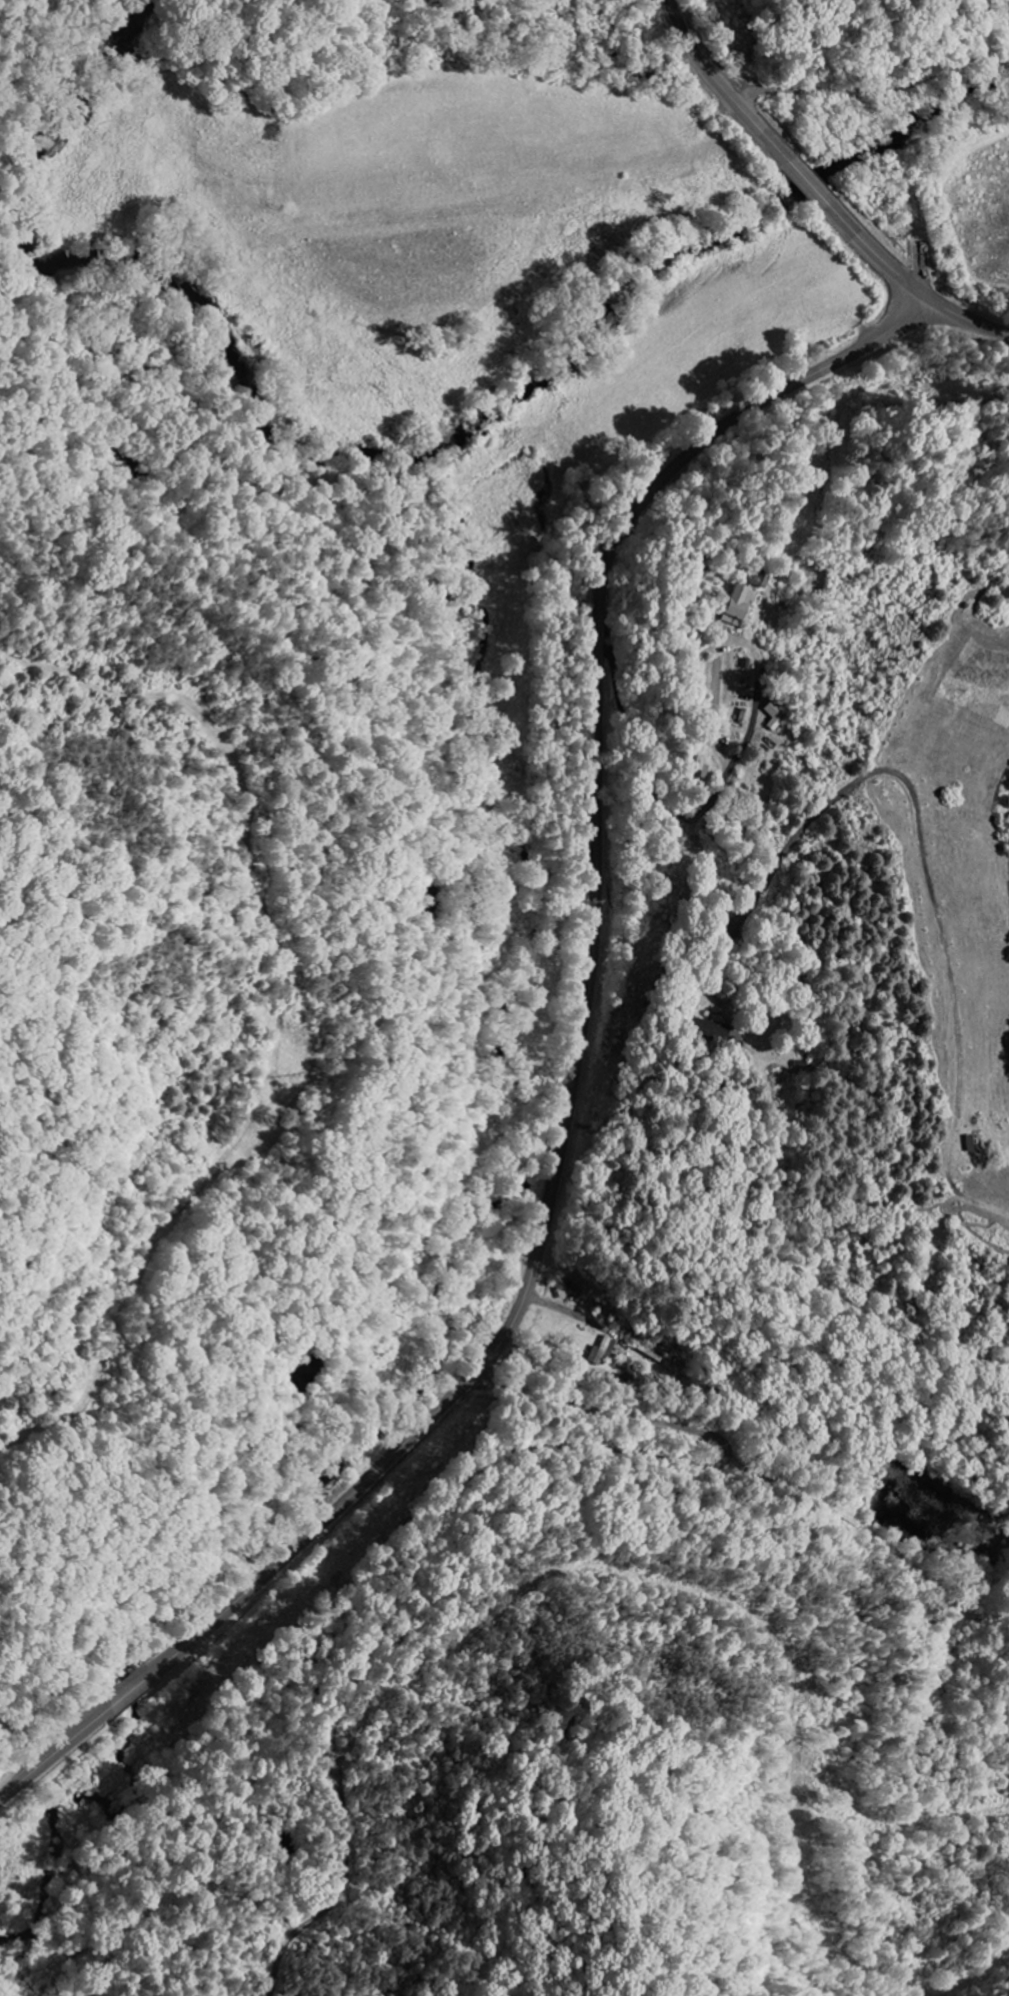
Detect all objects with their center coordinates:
road: (722, 87)
road: (867, 96)
road: (810, 185)
road: (871, 253)
road: (960, 316)
building: (759, 577)
building: (733, 605)
building: (775, 714)
road: (706, 804)
road: (747, 994)
road: (571, 1088)
building: (602, 1350)
road: (961, 1647)

